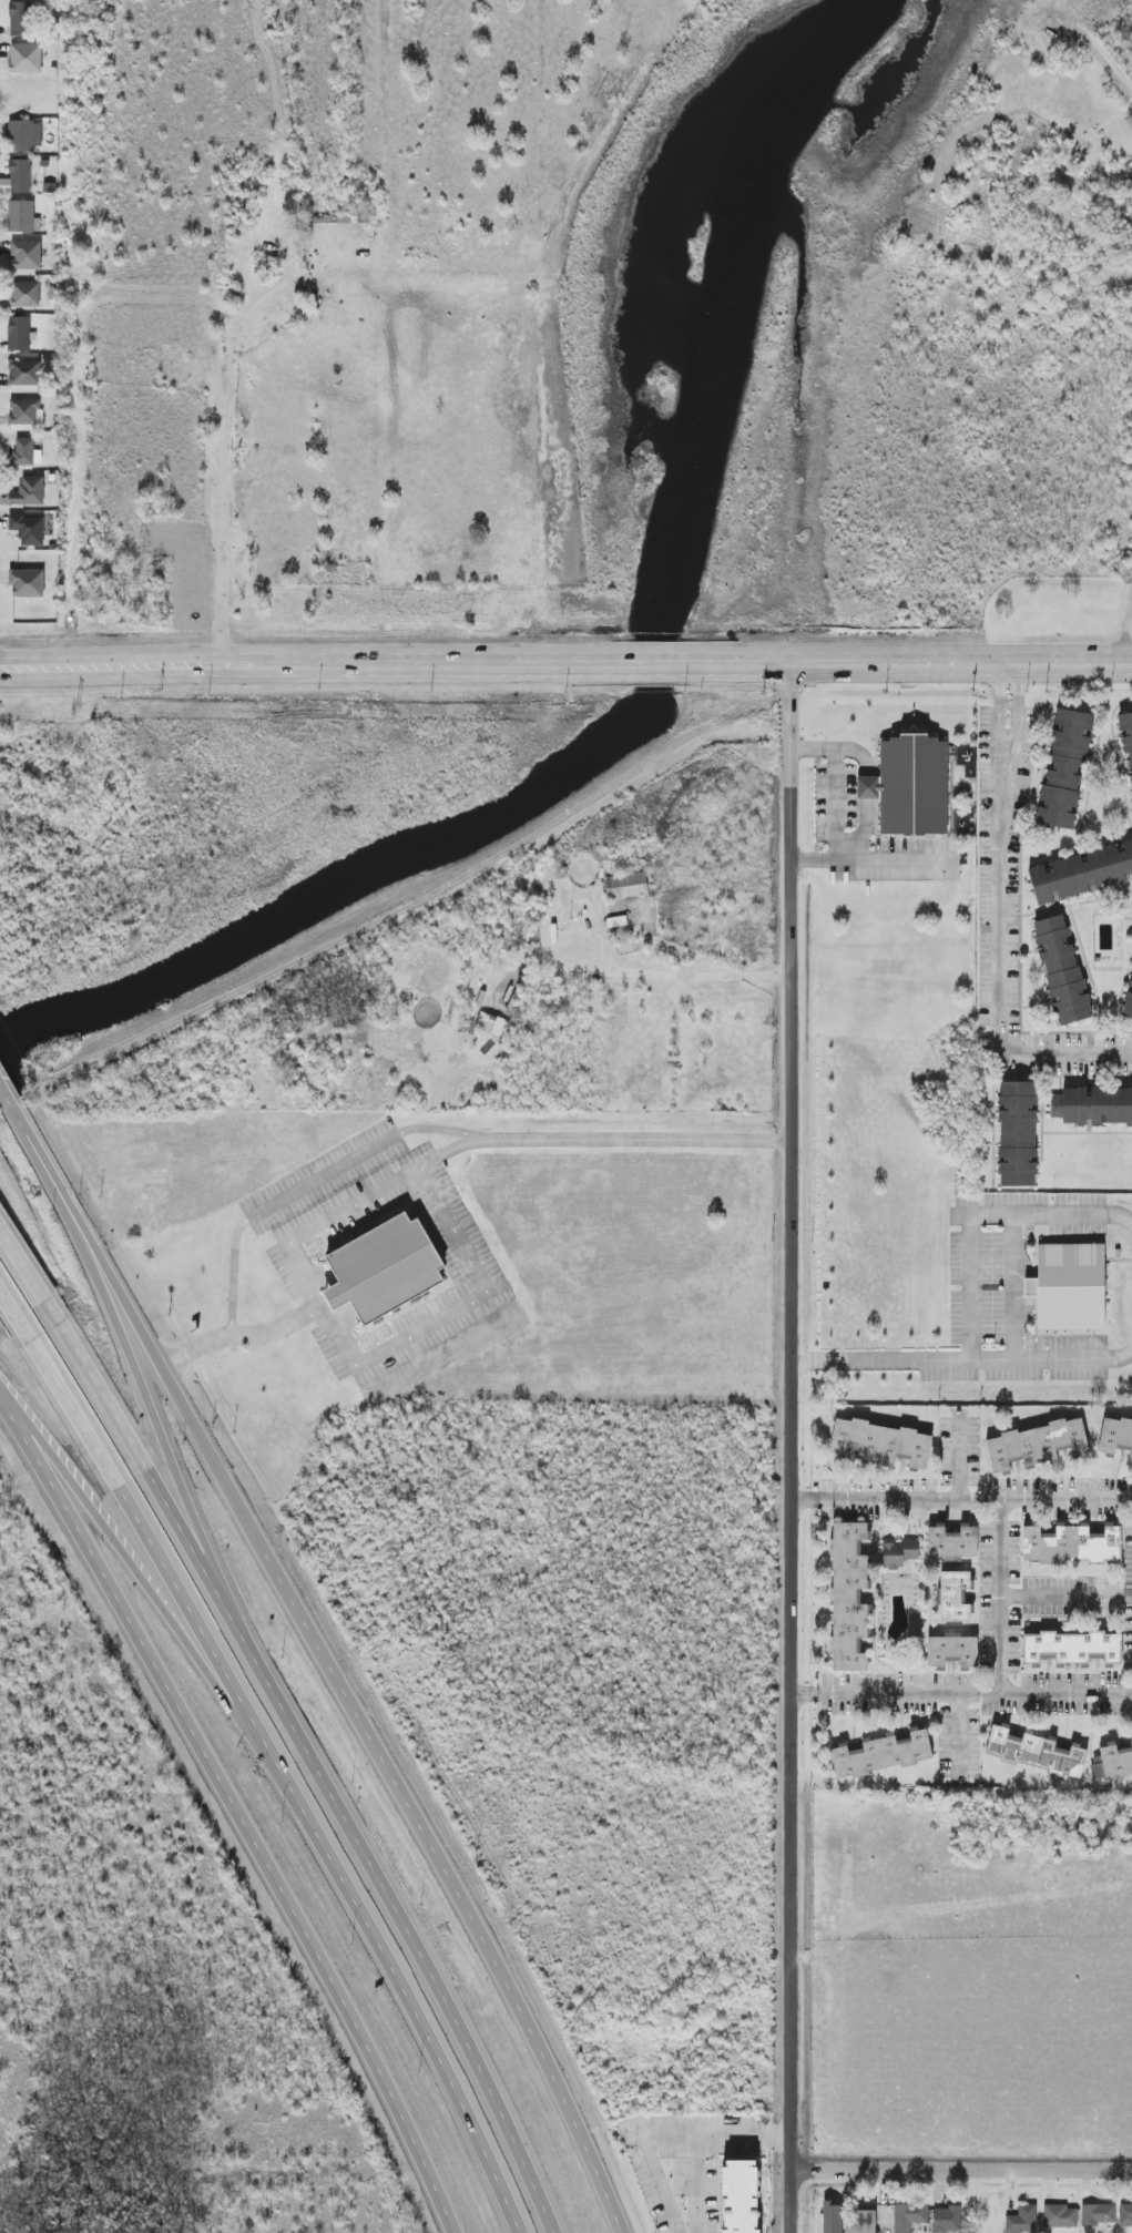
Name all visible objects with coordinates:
building: (18, 19)
building: (26, 58)
building: (24, 135)
building: (20, 175)
building: (22, 216)
building: (26, 255)
building: (24, 294)
building: (19, 334)
building: (24, 373)
building: (26, 411)
road: (223, 445)
building: (26, 452)
building: (29, 491)
building: (29, 529)
building: (27, 583)
road: (1126, 624)
road: (934, 661)
road: (657, 662)
road: (400, 663)
road: (111, 664)
road: (1000, 712)
road: (1017, 713)
building: (1126, 736)
building: (1064, 768)
building: (910, 786)
road: (865, 788)
road: (838, 805)
road: (894, 857)
building: (1081, 873)
building: (626, 886)
building: (1061, 970)
road: (1000, 973)
road: (677, 976)
building: (1128, 1005)
building: (491, 1024)
road: (6, 1097)
building: (1093, 1105)
road: (602, 1132)
building: (1017, 1134)
road: (35, 1150)
road: (309, 1177)
road: (1073, 1213)
road: (325, 1215)
road: (23, 1268)
building: (385, 1268)
road: (481, 1285)
building: (1069, 1287)
road: (1013, 1302)
road: (9, 1307)
road: (234, 1326)
road: (336, 1326)
road: (1073, 1358)
road: (163, 1372)
building: (1114, 1436)
building: (881, 1442)
building: (1037, 1445)
road: (792, 1447)
road: (166, 1448)
road: (958, 1459)
road: (961, 1500)
road: (164, 1502)
building: (952, 1542)
building: (1071, 1544)
building: (898, 1553)
building: (848, 1597)
building: (955, 1597)
road: (1001, 1597)
road: (1067, 1598)
road: (211, 1641)
building: (1070, 1648)
building: (952, 1650)
road: (205, 1673)
road: (961, 1695)
road: (959, 1736)
building: (1131, 1741)
building: (1034, 1752)
building: (883, 1754)
building: (1112, 1762)
road: (238, 1811)
road: (459, 1887)
road: (424, 1965)
road: (459, 2099)
road: (698, 2137)
road: (652, 2160)
road: (961, 2166)
building: (741, 2196)
building: (1125, 2214)
building: (1099, 2215)
building: (909, 2216)
building: (1060, 2216)
building: (948, 2219)
building: (1022, 2220)
building: (865, 2222)

